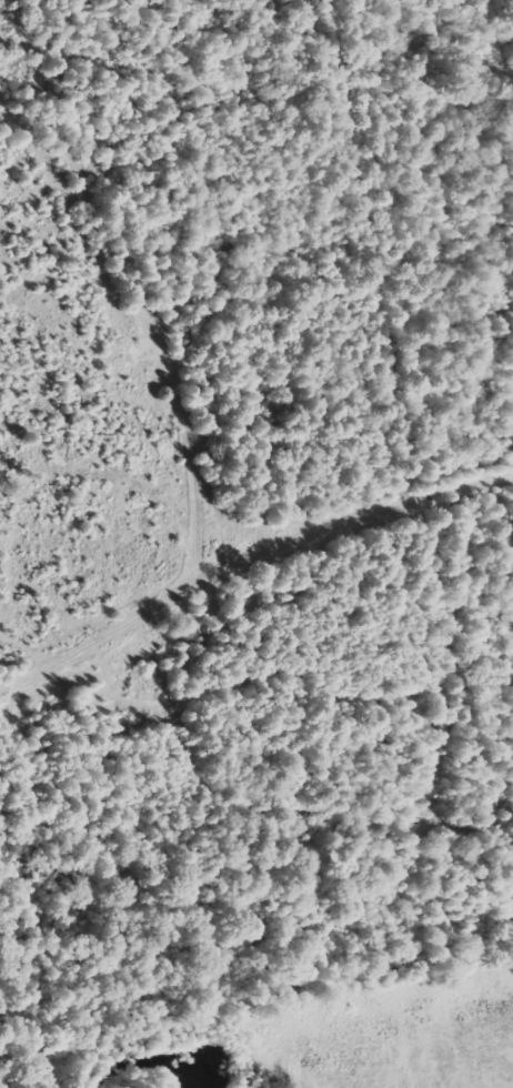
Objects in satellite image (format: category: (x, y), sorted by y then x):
park: (21, 975)
road: (6, 1057)

